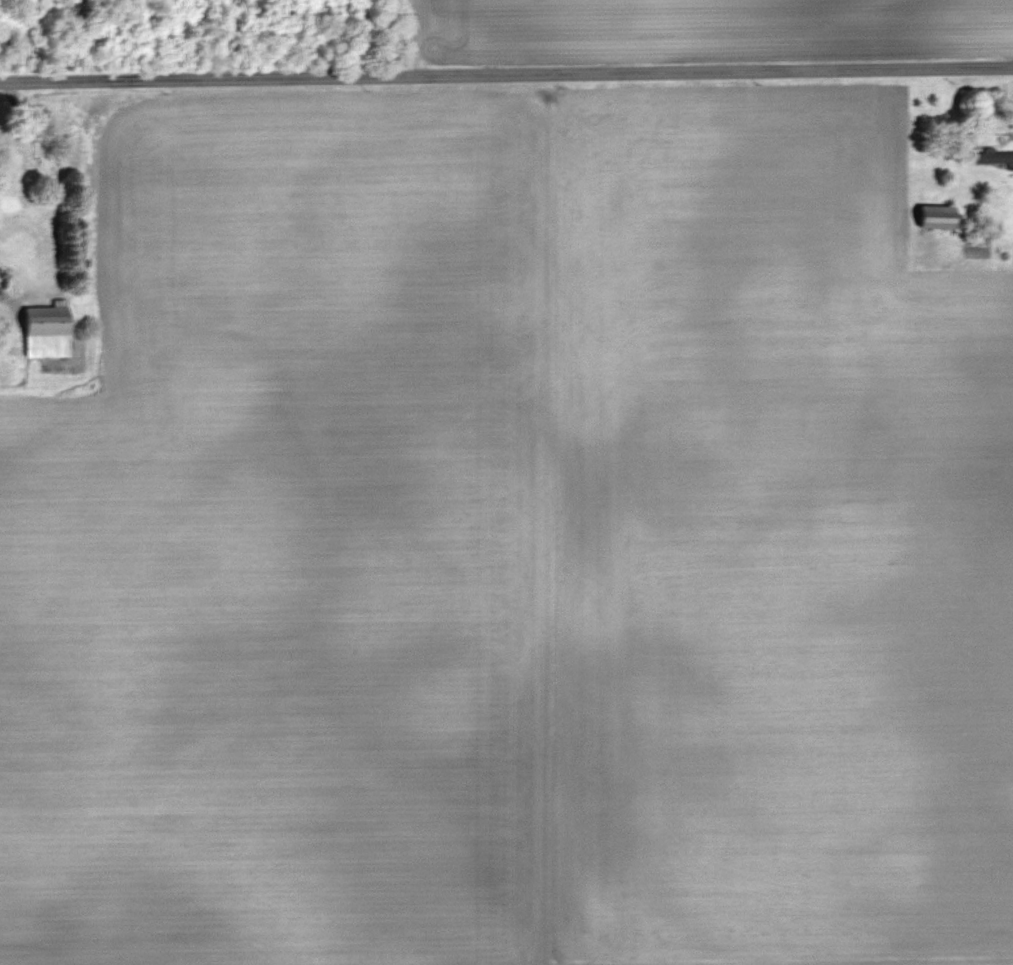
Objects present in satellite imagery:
road: (506, 74)
building: (996, 156)
building: (52, 331)

